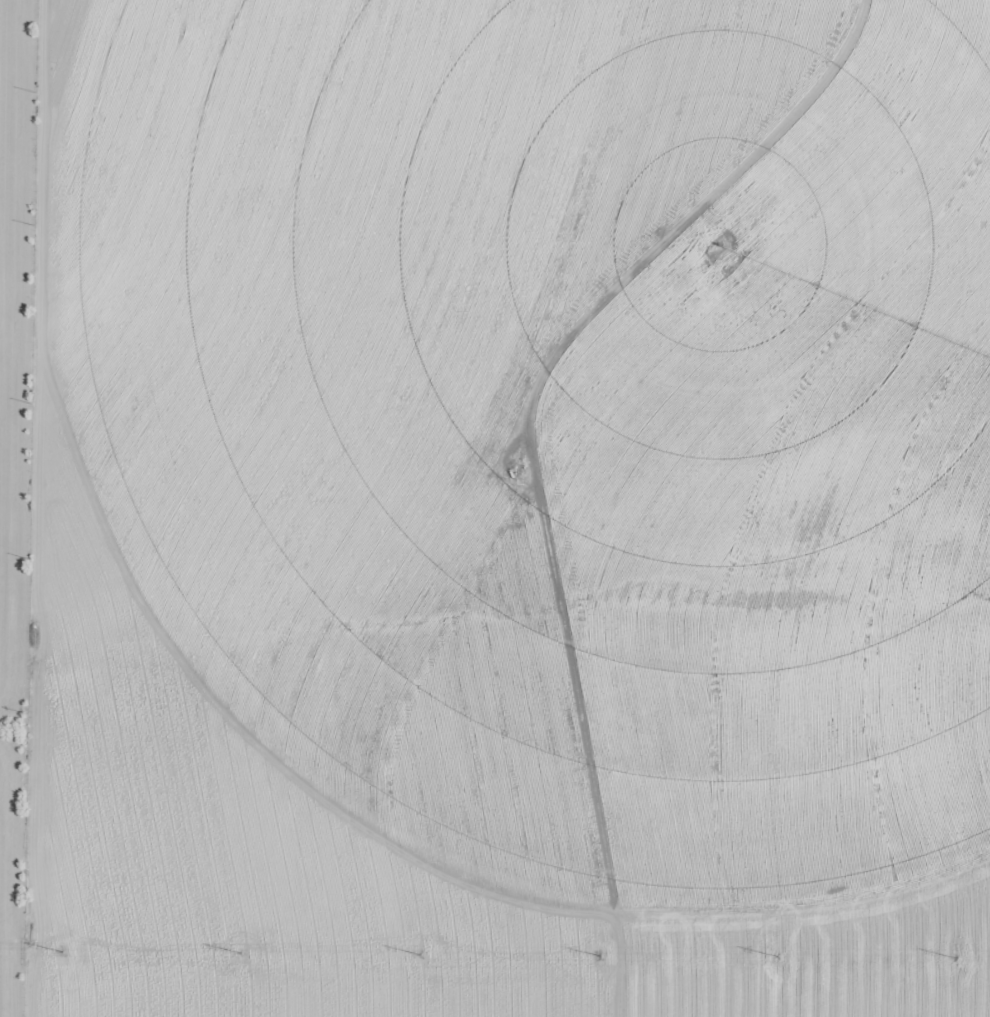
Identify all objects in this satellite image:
road: (527, 448)

